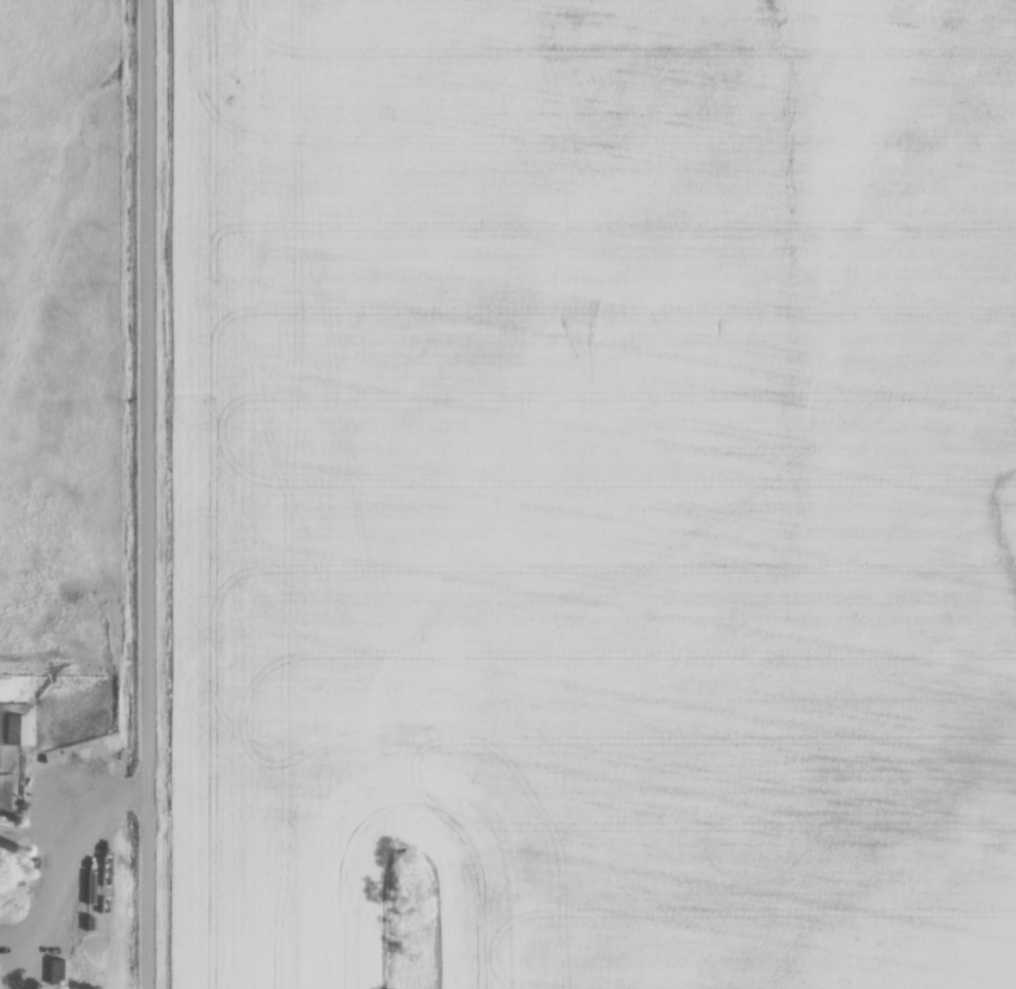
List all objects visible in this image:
road: (143, 494)

